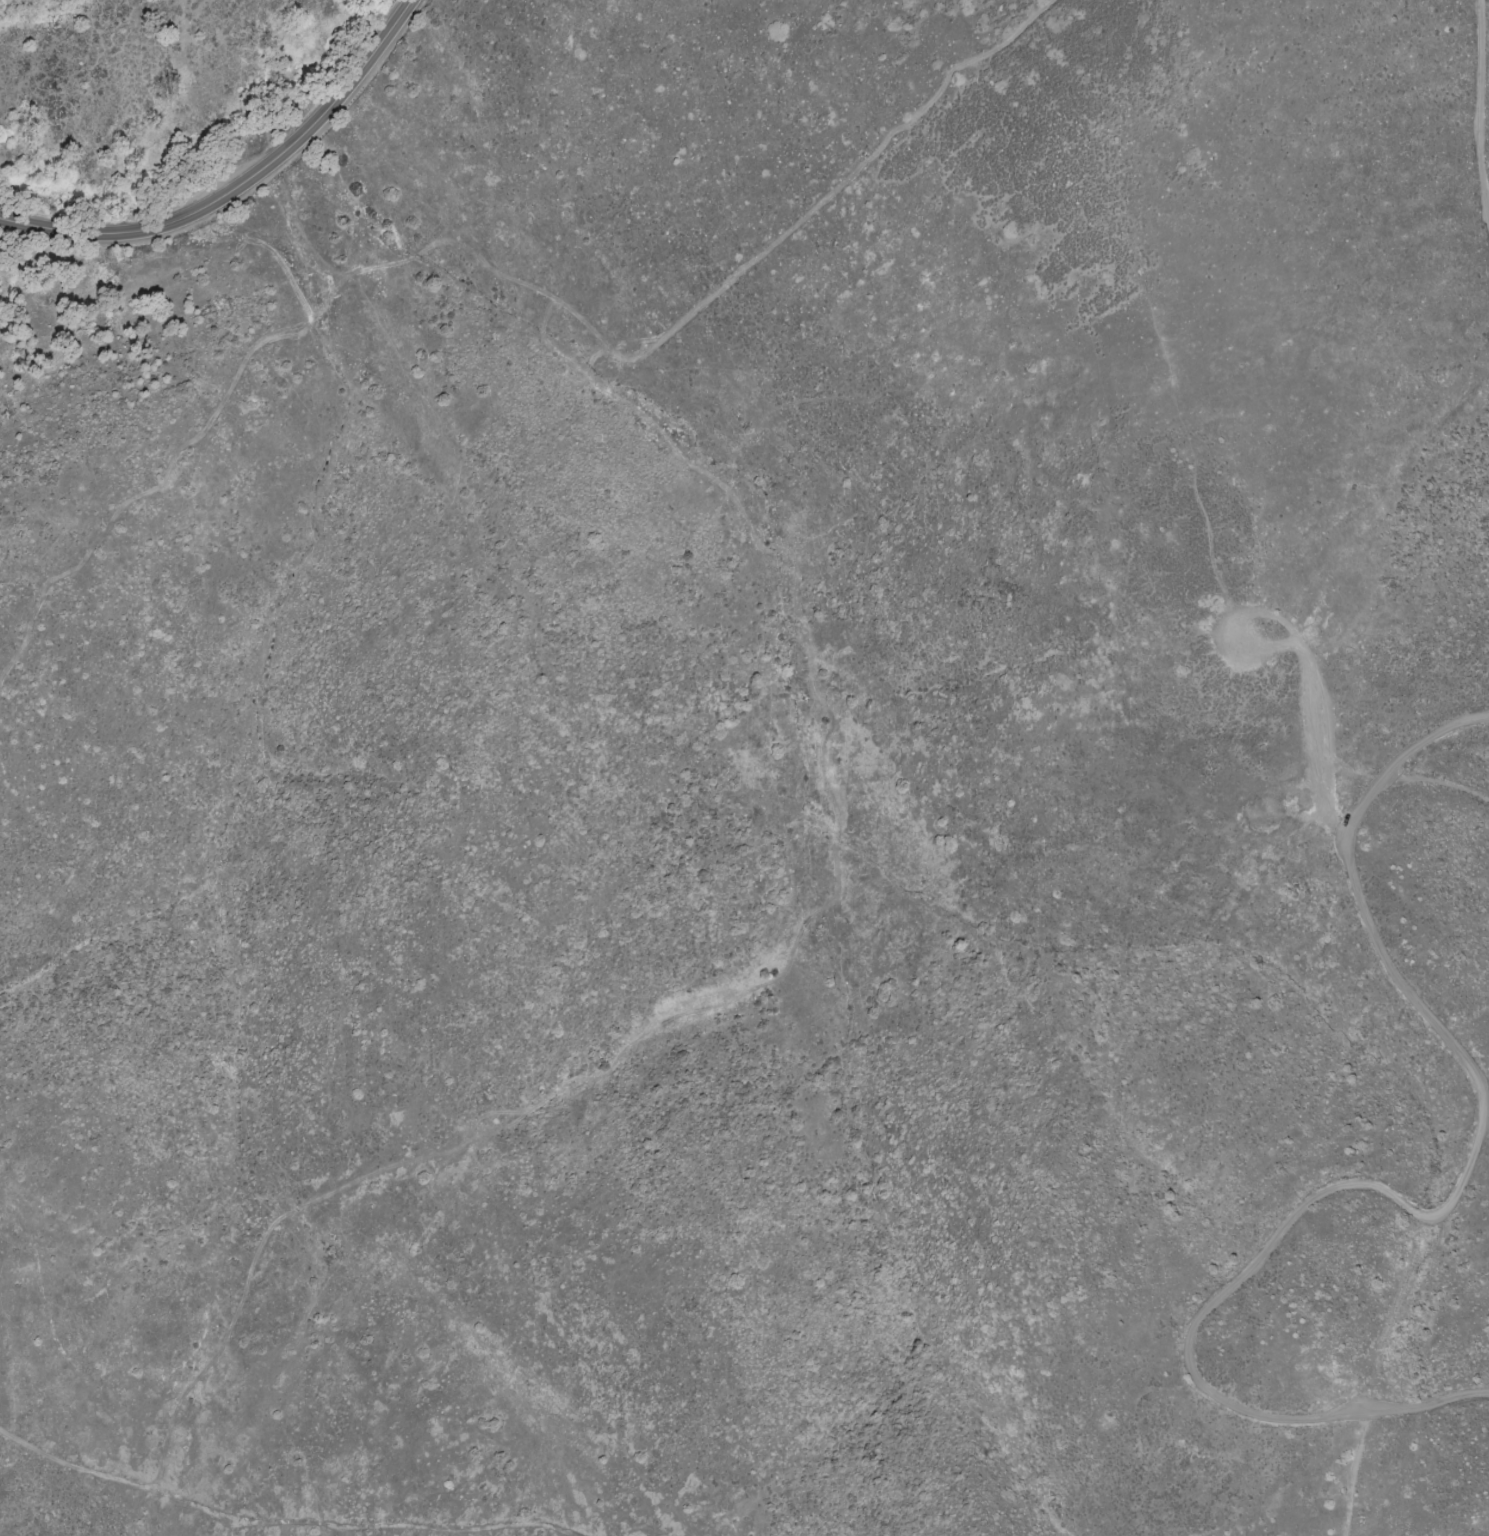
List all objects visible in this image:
road: (1481, 102)
road: (242, 190)
road: (1305, 673)
road: (1437, 781)
road: (1421, 1223)
parking lot: (1365, 1400)
road: (1365, 1484)
road: (206, 1514)
road: (525, 1533)

